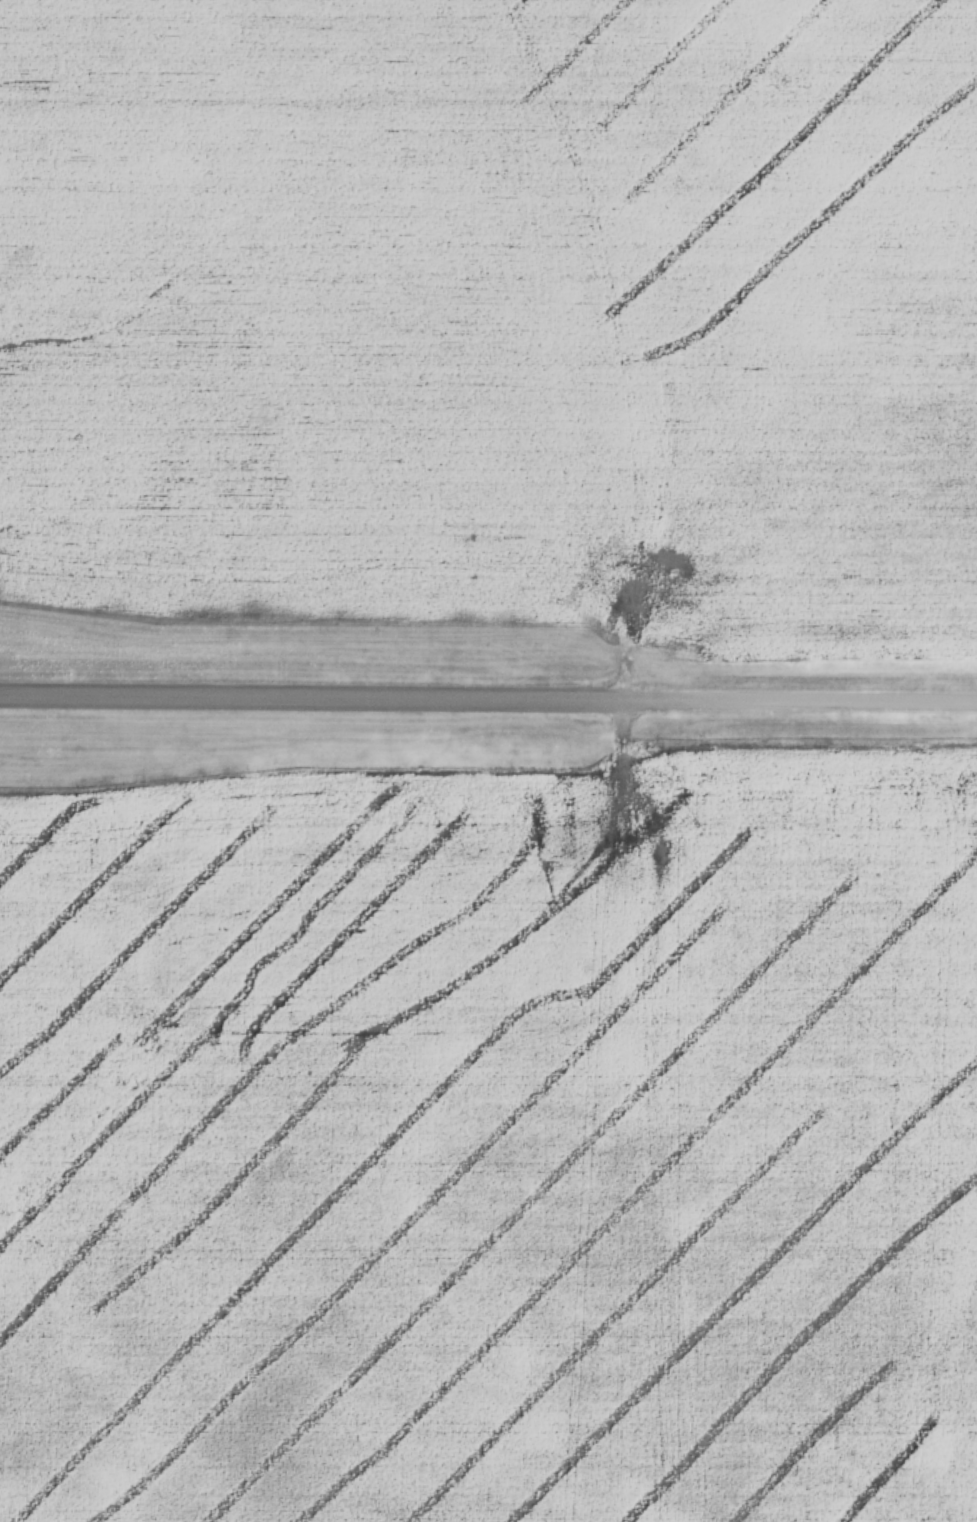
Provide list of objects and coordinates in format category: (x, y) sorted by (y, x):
road: (488, 698)

